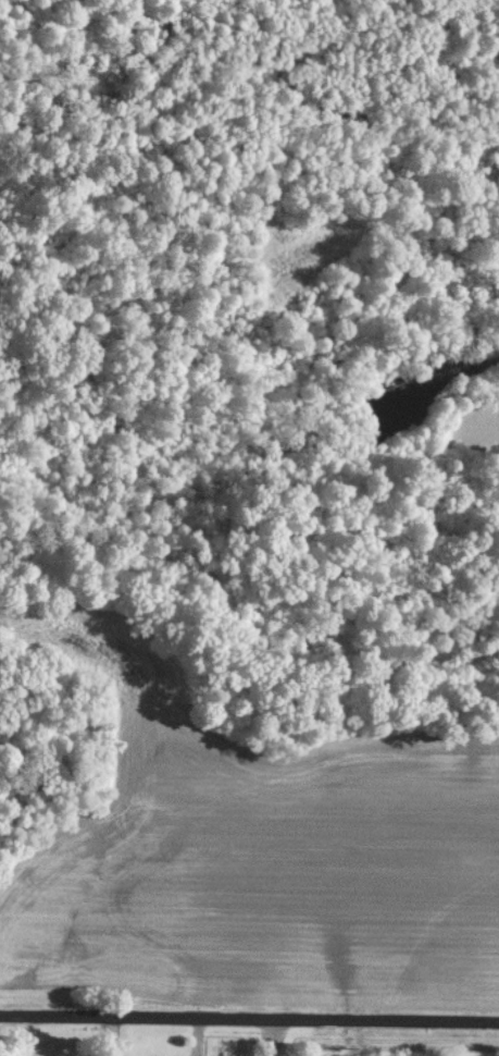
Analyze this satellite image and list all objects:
road: (249, 1014)
road: (117, 1033)

